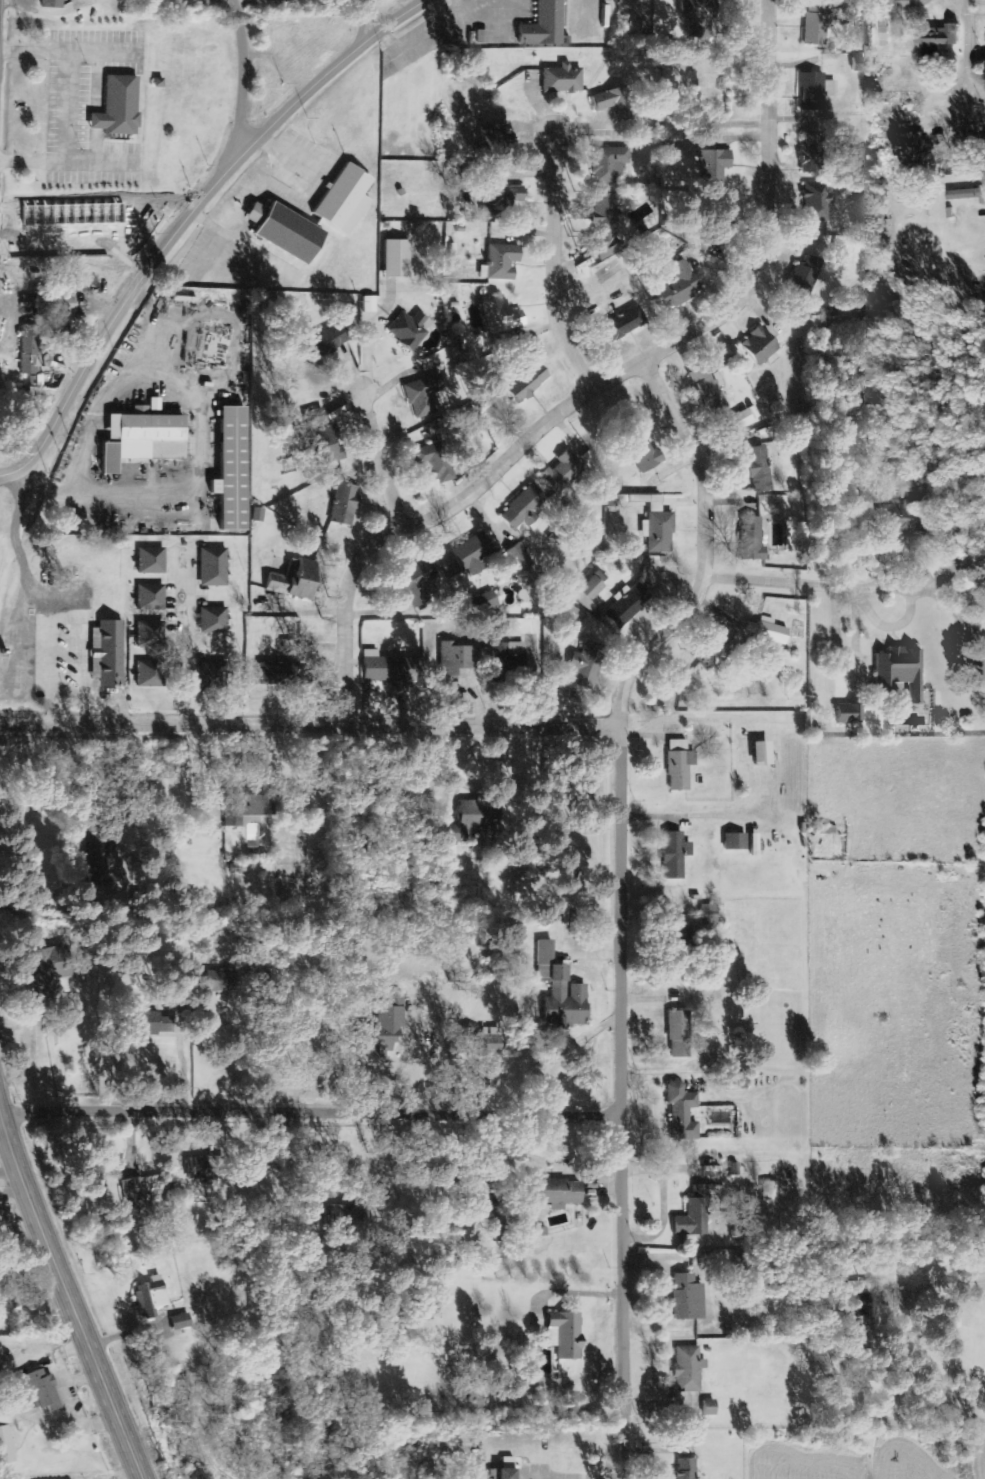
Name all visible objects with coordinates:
building: (53, 4)
building: (905, 4)
building: (700, 11)
road: (385, 19)
building: (816, 22)
building: (546, 25)
building: (483, 37)
building: (942, 41)
road: (976, 48)
building: (860, 64)
building: (563, 80)
road: (240, 87)
road: (323, 91)
building: (816, 91)
road: (981, 94)
building: (614, 104)
building: (120, 107)
building: (493, 134)
building: (913, 147)
building: (813, 152)
building: (610, 164)
building: (715, 166)
building: (971, 171)
building: (968, 195)
building: (346, 200)
building: (501, 201)
building: (818, 203)
building: (606, 219)
building: (287, 233)
building: (399, 259)
building: (502, 263)
road: (556, 263)
building: (807, 277)
building: (681, 286)
building: (55, 305)
building: (503, 315)
building: (630, 321)
building: (410, 330)
building: (331, 340)
road: (110, 341)
building: (763, 348)
building: (33, 352)
building: (703, 380)
road: (603, 381)
building: (529, 383)
building: (424, 396)
building: (747, 417)
building: (146, 438)
building: (325, 438)
building: (646, 453)
road: (380, 460)
building: (435, 463)
building: (234, 468)
building: (761, 469)
building: (563, 473)
building: (346, 505)
building: (524, 507)
building: (910, 519)
building: (752, 540)
building: (475, 554)
building: (520, 558)
building: (152, 561)
building: (214, 568)
building: (297, 580)
building: (419, 583)
road: (863, 584)
building: (591, 593)
building: (152, 598)
building: (629, 605)
building: (572, 615)
building: (215, 621)
building: (770, 631)
building: (151, 634)
road: (187, 634)
building: (716, 651)
building: (110, 654)
building: (458, 661)
building: (508, 663)
building: (589, 666)
building: (389, 668)
building: (902, 673)
building: (150, 674)
building: (214, 675)
building: (285, 675)
building: (857, 713)
road: (309, 724)
building: (764, 754)
building: (681, 766)
building: (248, 802)
building: (475, 823)
building: (736, 842)
building: (755, 846)
building: (676, 856)
building: (97, 857)
building: (240, 869)
road: (625, 896)
building: (710, 916)
building: (685, 935)
building: (46, 970)
building: (226, 981)
building: (562, 992)
building: (159, 1024)
building: (383, 1031)
building: (681, 1035)
building: (493, 1042)
building: (737, 1082)
building: (684, 1113)
road: (326, 1121)
road: (9, 1134)
building: (207, 1169)
building: (772, 1192)
building: (559, 1193)
building: (136, 1201)
building: (486, 1201)
building: (696, 1216)
building: (345, 1219)
building: (498, 1234)
road: (65, 1279)
building: (152, 1298)
building: (689, 1299)
building: (182, 1323)
building: (864, 1335)
building: (567, 1336)
building: (1, 1366)
building: (690, 1369)
building: (41, 1391)
building: (711, 1408)
building: (4, 1418)
building: (7, 1447)
road: (872, 1460)
building: (688, 1469)
building: (505, 1474)

